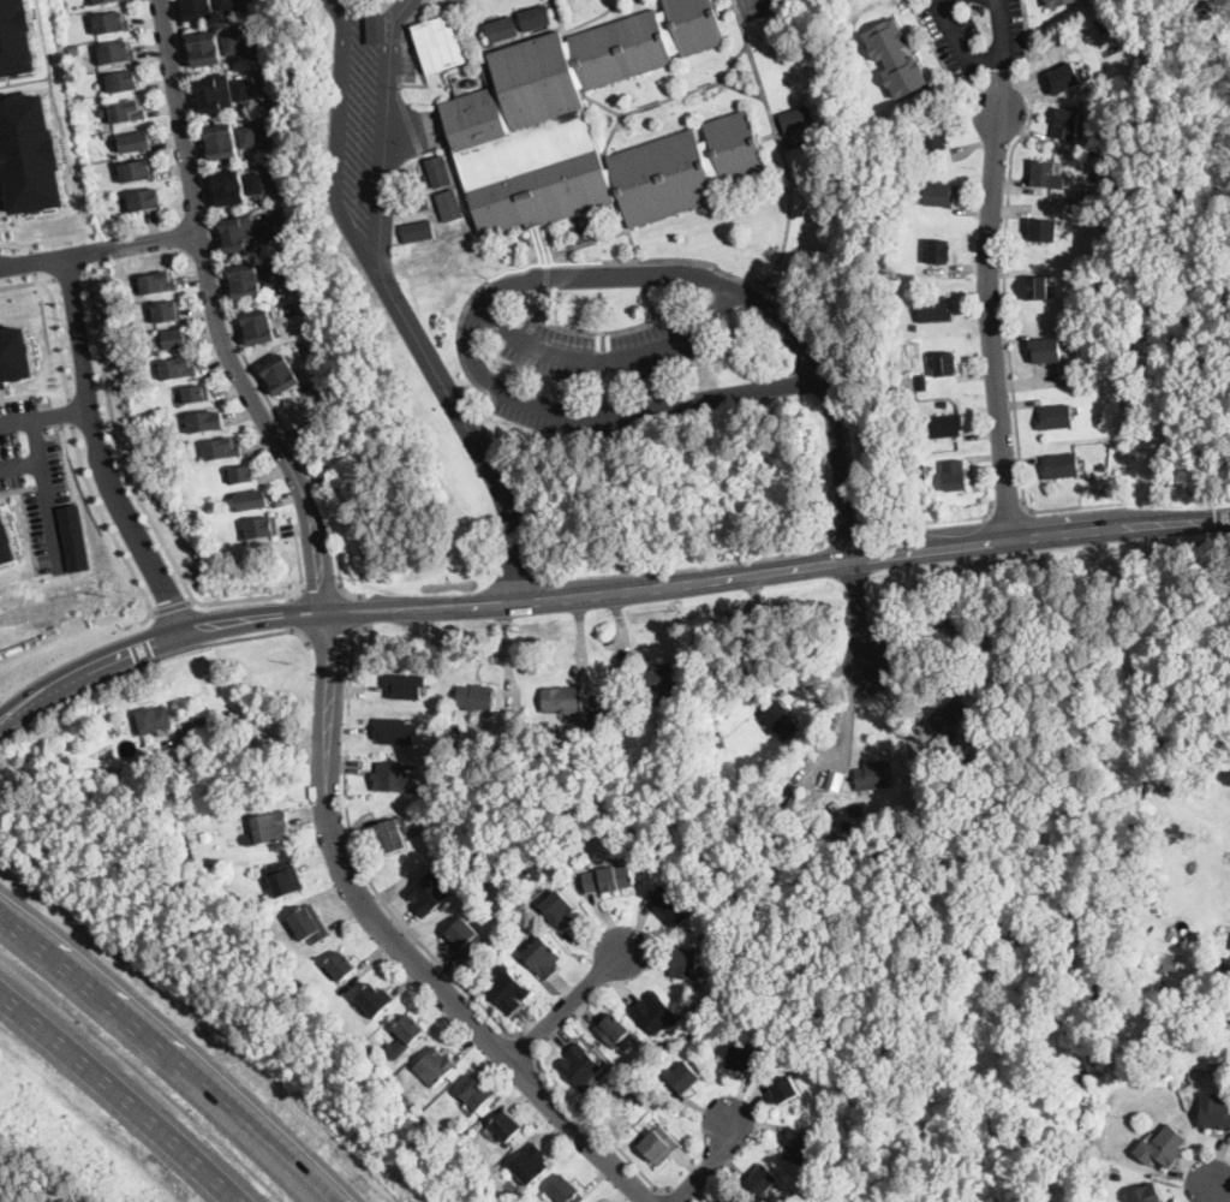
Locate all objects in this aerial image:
building: (102, 1)
building: (1059, 2)
building: (225, 4)
building: (199, 10)
building: (536, 18)
building: (113, 23)
building: (1104, 28)
building: (502, 29)
building: (18, 37)
road: (961, 40)
building: (438, 43)
building: (232, 44)
building: (76, 48)
building: (207, 49)
building: (117, 53)
building: (896, 59)
building: (1064, 79)
building: (124, 82)
building: (243, 90)
building: (216, 95)
building: (83, 99)
building: (88, 111)
building: (129, 112)
building: (517, 117)
building: (796, 117)
building: (1067, 124)
building: (249, 137)
building: (933, 141)
building: (136, 142)
building: (222, 142)
road: (780, 143)
building: (1101, 143)
building: (31, 153)
building: (138, 172)
building: (440, 172)
building: (1044, 174)
building: (1089, 175)
building: (256, 184)
building: (231, 189)
building: (939, 194)
building: (145, 200)
building: (414, 202)
building: (450, 206)
road: (4, 221)
building: (267, 230)
building: (1043, 231)
road: (293, 232)
building: (420, 232)
building: (241, 234)
road: (46, 239)
building: (460, 242)
road: (100, 248)
building: (941, 251)
road: (610, 260)
building: (426, 262)
building: (884, 262)
road: (989, 269)
road: (1005, 272)
road: (68, 274)
road: (381, 275)
road: (438, 275)
building: (274, 276)
road: (545, 276)
building: (246, 280)
road: (28, 282)
building: (159, 282)
building: (1038, 288)
road: (651, 300)
road: (542, 302)
building: (935, 310)
building: (168, 311)
road: (215, 315)
road: (231, 315)
building: (261, 327)
building: (915, 327)
road: (602, 329)
road: (58, 338)
building: (174, 339)
building: (1046, 350)
building: (13, 353)
road: (610, 361)
building: (947, 364)
building: (179, 369)
building: (283, 375)
building: (922, 383)
building: (196, 394)
building: (945, 403)
road: (68, 412)
road: (43, 416)
building: (1056, 417)
building: (1100, 418)
building: (207, 422)
building: (948, 426)
road: (472, 433)
building: (223, 448)
road: (98, 451)
road: (37, 458)
building: (1062, 466)
building: (1104, 468)
building: (243, 475)
building: (955, 476)
road: (133, 484)
building: (252, 501)
road: (1009, 508)
road: (48, 513)
road: (974, 516)
road: (108, 526)
building: (262, 529)
road: (513, 534)
building: (72, 536)
building: (5, 541)
road: (301, 564)
road: (323, 589)
road: (604, 590)
road: (191, 599)
road: (173, 605)
road: (154, 609)
road: (860, 615)
building: (942, 618)
building: (991, 623)
road: (332, 633)
building: (1019, 655)
building: (732, 659)
road: (151, 661)
building: (657, 680)
building: (405, 684)
building: (476, 697)
building: (561, 701)
building: (454, 709)
building: (596, 714)
building: (948, 716)
road: (237, 718)
building: (778, 720)
building: (154, 721)
building: (461, 722)
building: (595, 726)
building: (201, 727)
building: (396, 730)
building: (717, 739)
building: (681, 750)
building: (394, 776)
building: (873, 776)
building: (127, 780)
building: (835, 780)
building: (880, 807)
building: (835, 808)
building: (856, 809)
building: (270, 828)
building: (392, 837)
building: (184, 857)
road: (360, 857)
building: (717, 874)
building: (286, 879)
building: (609, 879)
building: (429, 893)
building: (671, 906)
building: (560, 910)
building: (310, 924)
building: (717, 928)
building: (465, 938)
road: (400, 946)
building: (543, 957)
building: (276, 964)
building: (685, 964)
building: (341, 965)
building: (508, 990)
building: (376, 1000)
road: (566, 1001)
building: (656, 1013)
building: (1211, 1025)
building: (410, 1029)
building: (613, 1029)
building: (780, 1039)
road: (168, 1047)
road: (525, 1047)
building: (745, 1059)
building: (650, 1060)
building: (1216, 1061)
building: (436, 1067)
building: (580, 1067)
building: (685, 1077)
building: (627, 1084)
building: (787, 1091)
building: (474, 1093)
road: (118, 1097)
building: (1214, 1112)
building: (506, 1125)
road: (603, 1130)
building: (661, 1144)
building: (798, 1146)
building: (1163, 1147)
building: (531, 1164)
road: (709, 1164)
building: (763, 1179)
building: (490, 1184)
building: (566, 1190)
road: (1214, 1190)
building: (1146, 1194)
road: (671, 1196)
building: (0, 1201)
building: (732, 1201)

